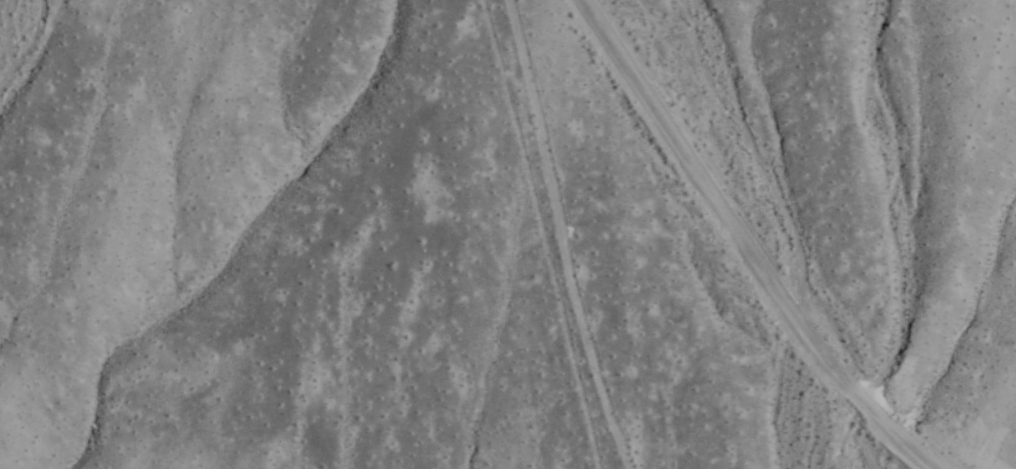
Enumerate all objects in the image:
road: (753, 247)

